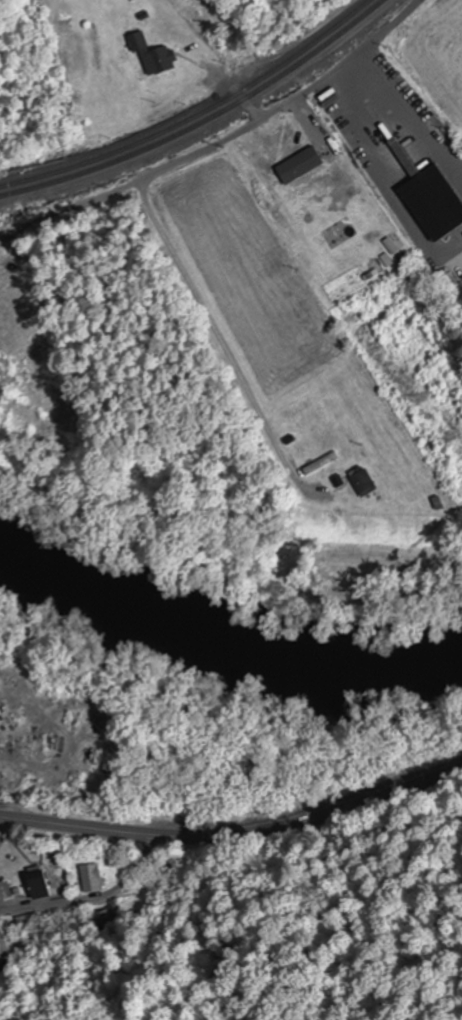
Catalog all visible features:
building: (151, 56)
road: (214, 62)
road: (339, 63)
railway: (194, 114)
railway: (203, 119)
road: (214, 145)
building: (430, 198)
building: (336, 199)
building: (320, 464)
building: (363, 482)
river: (220, 636)
road: (235, 833)
building: (90, 880)
building: (37, 886)
building: (5, 891)

